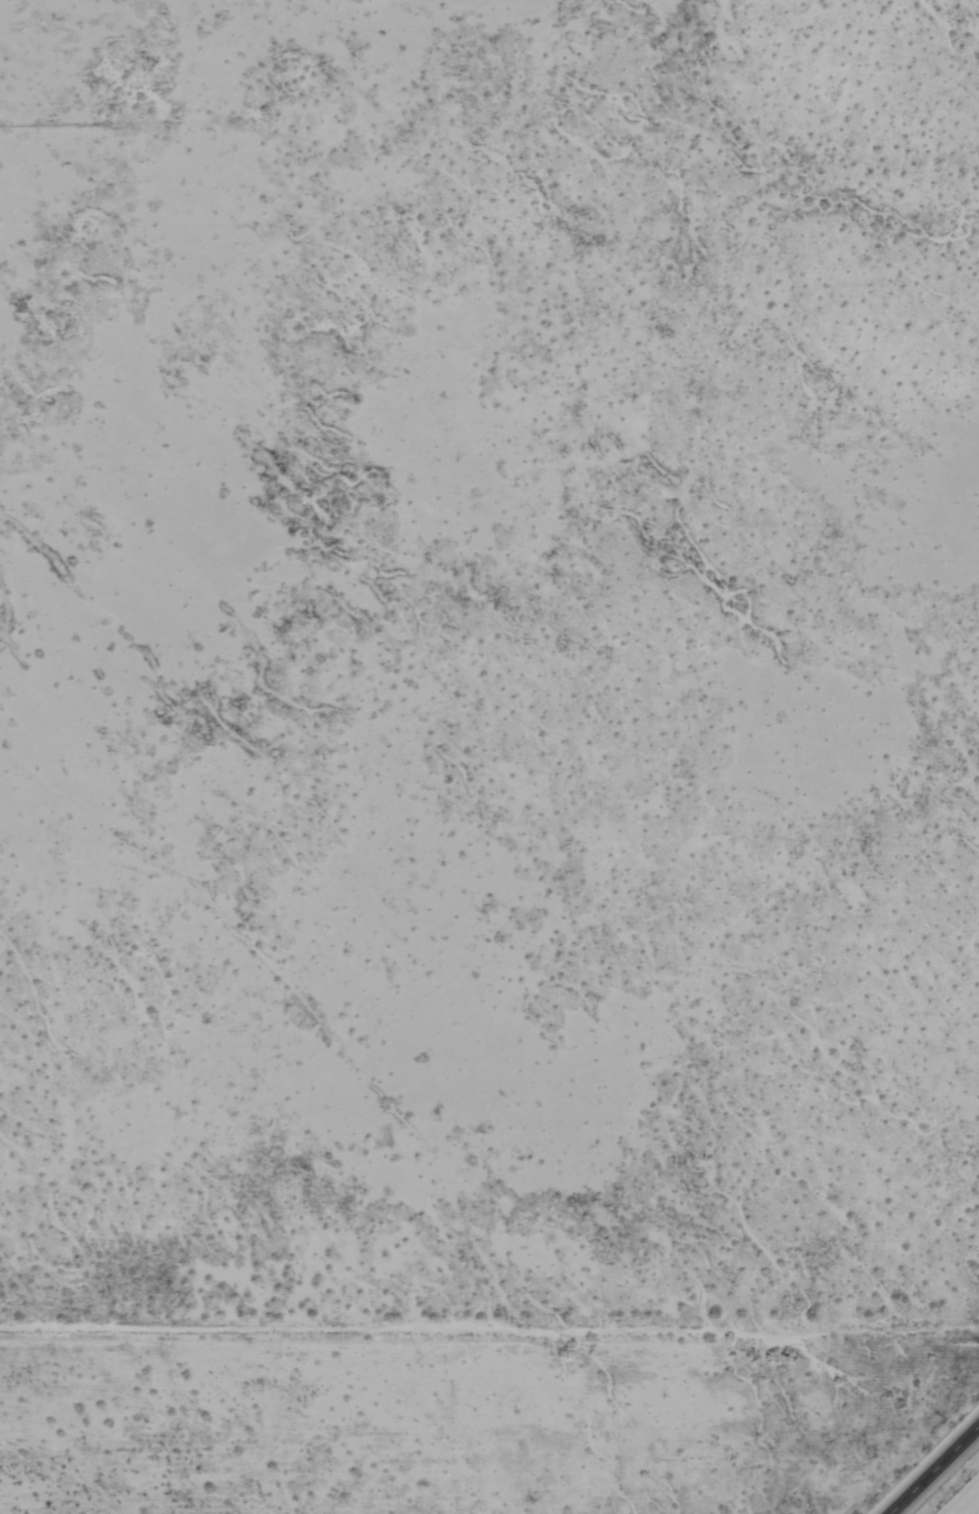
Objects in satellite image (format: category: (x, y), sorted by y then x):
road: (930, 1466)

